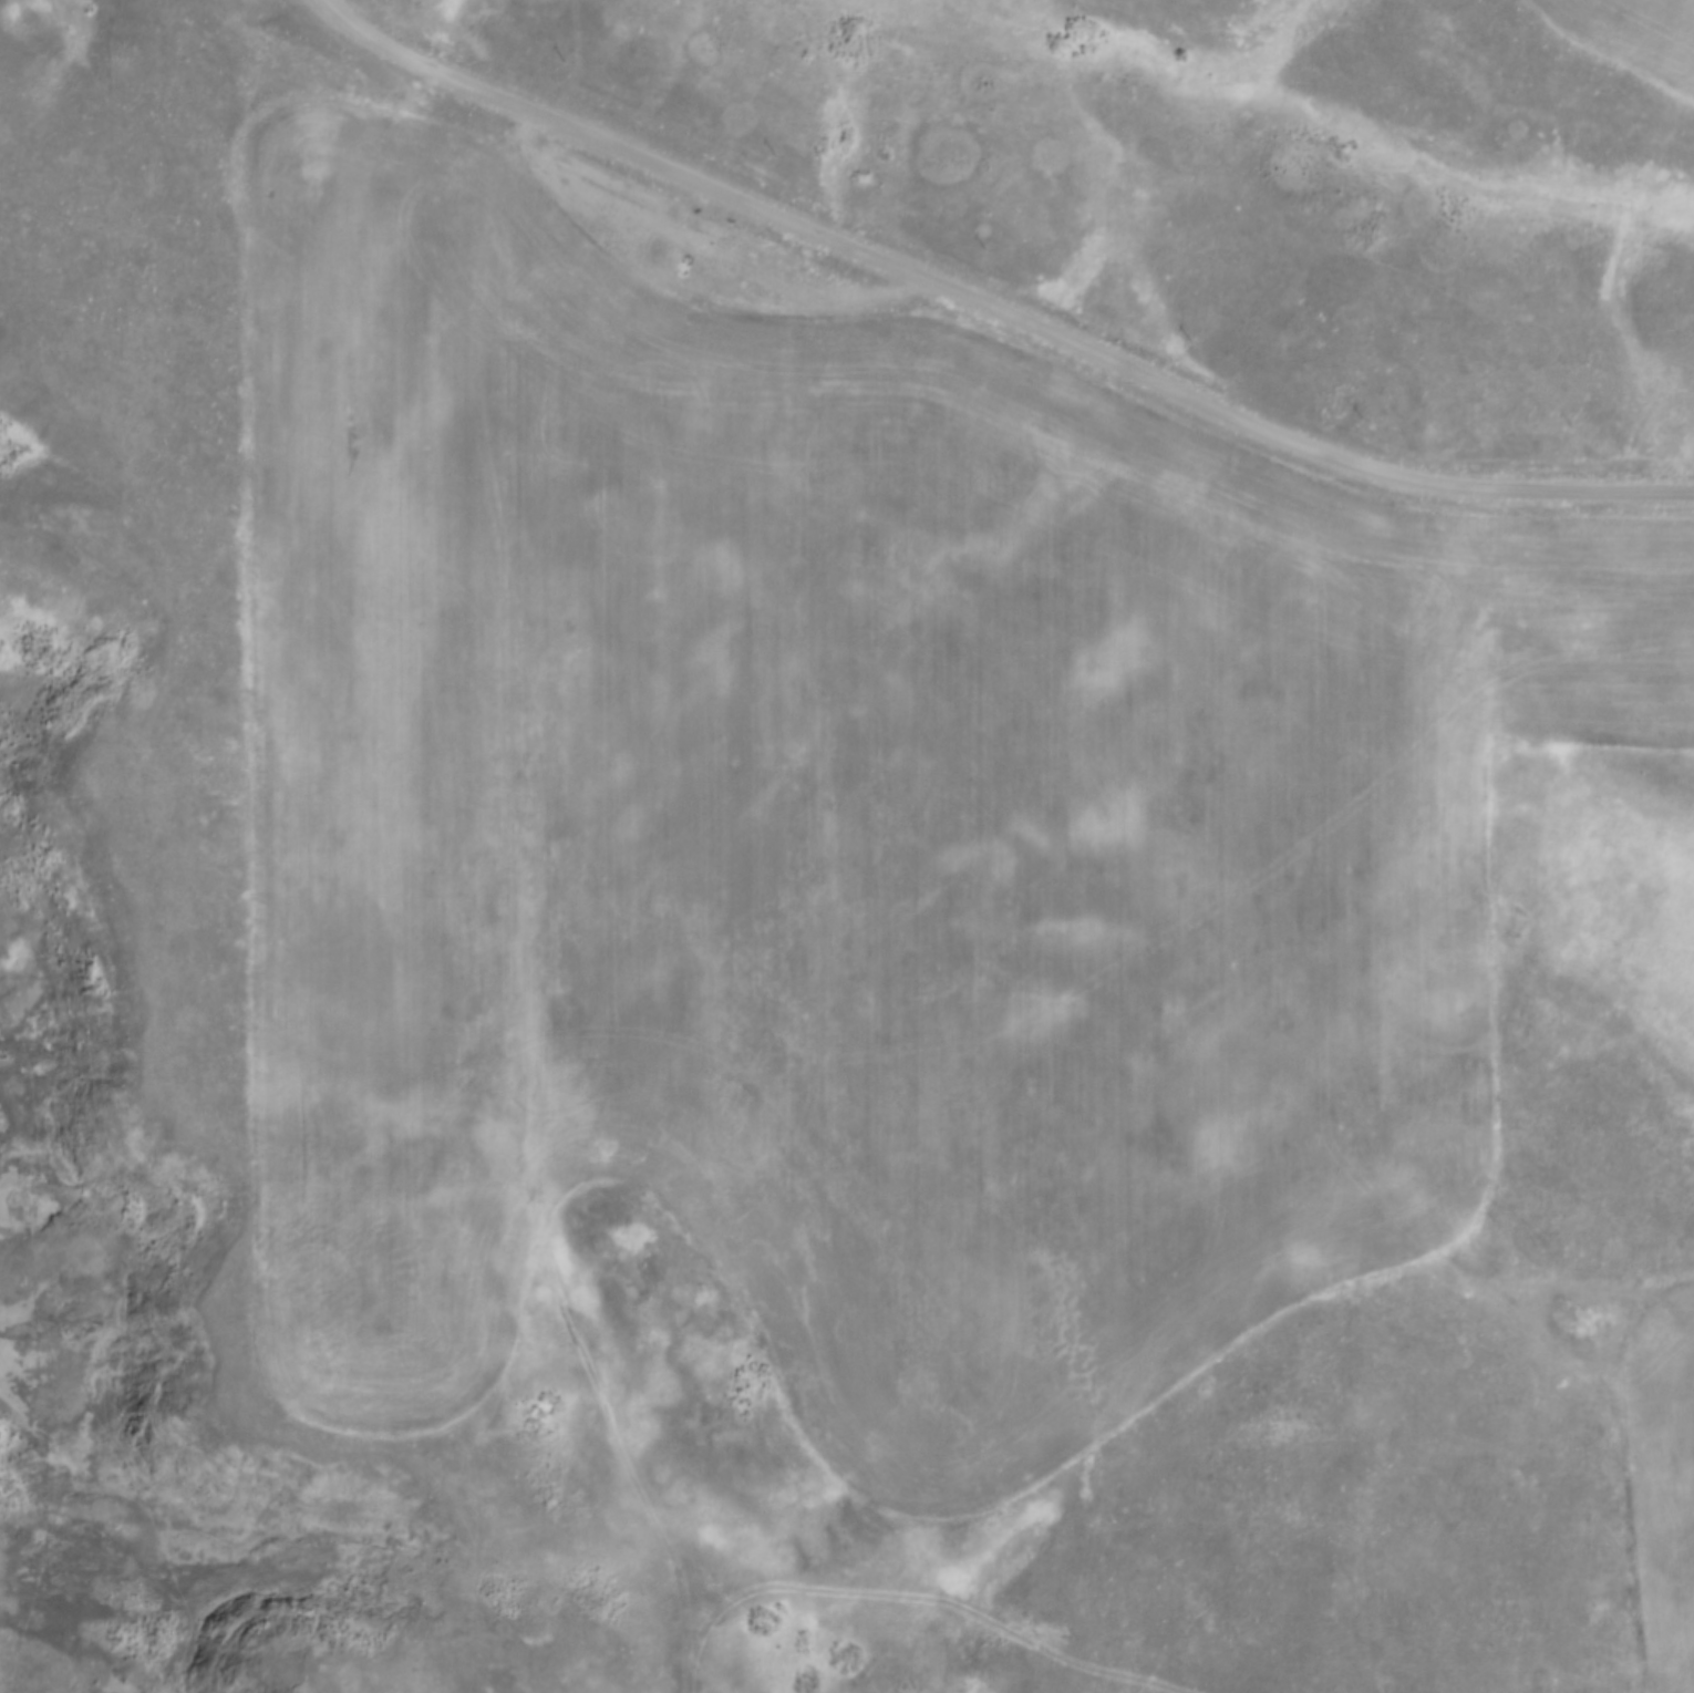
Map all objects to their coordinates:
road: (922, 1641)

